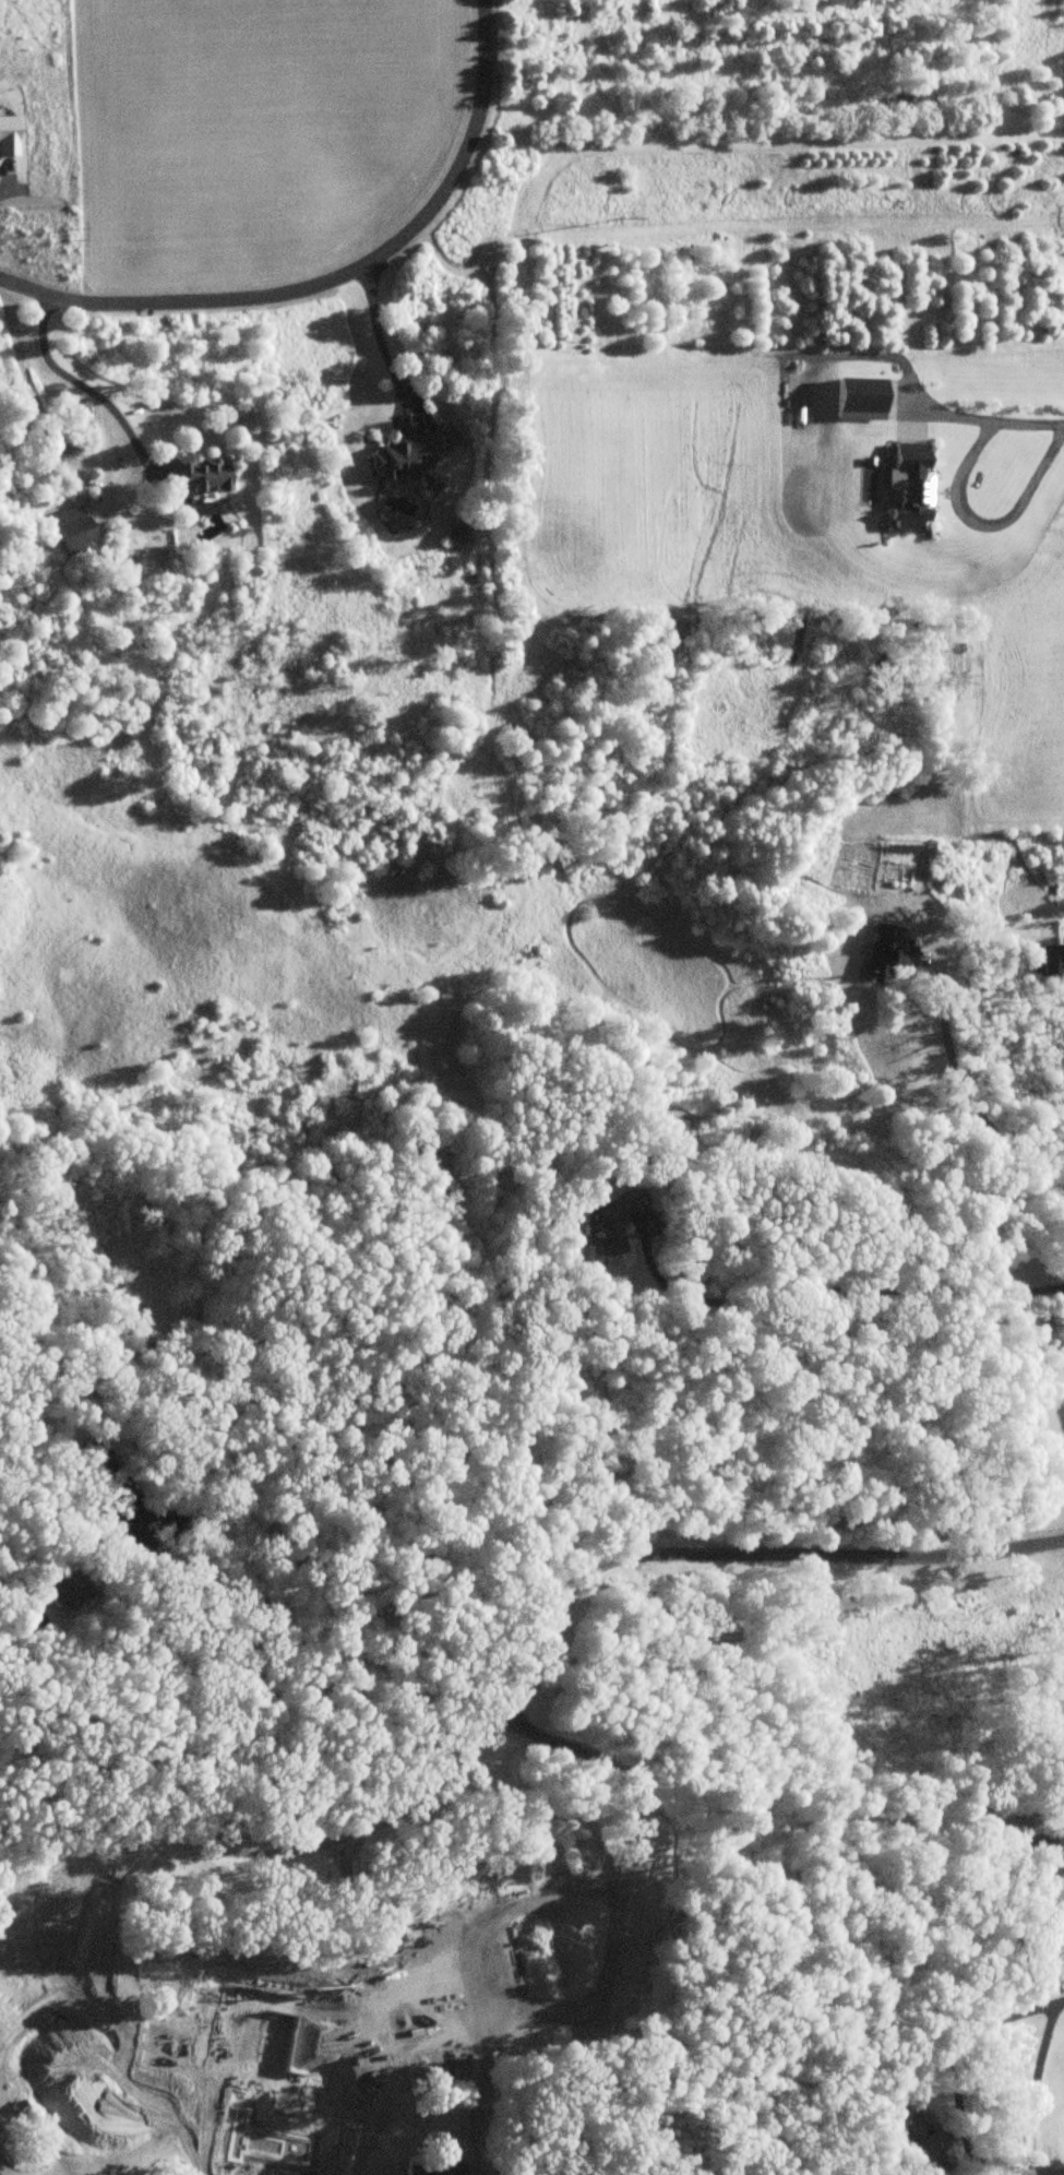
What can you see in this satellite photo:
road: (333, 277)
road: (381, 340)
road: (88, 388)
road: (990, 427)
building: (410, 457)
building: (196, 473)
building: (72, 526)
road: (988, 532)
building: (899, 849)
building: (887, 951)
building: (1052, 959)
road: (989, 1115)
building: (611, 1222)
road: (841, 1288)
building: (70, 1592)
road: (84, 1715)
road: (349, 1820)
building: (498, 1964)
road: (43, 1985)
road: (299, 1998)
road: (1059, 1998)
building: (929, 2142)
road: (967, 2143)
building: (437, 2167)
building: (1045, 2171)

